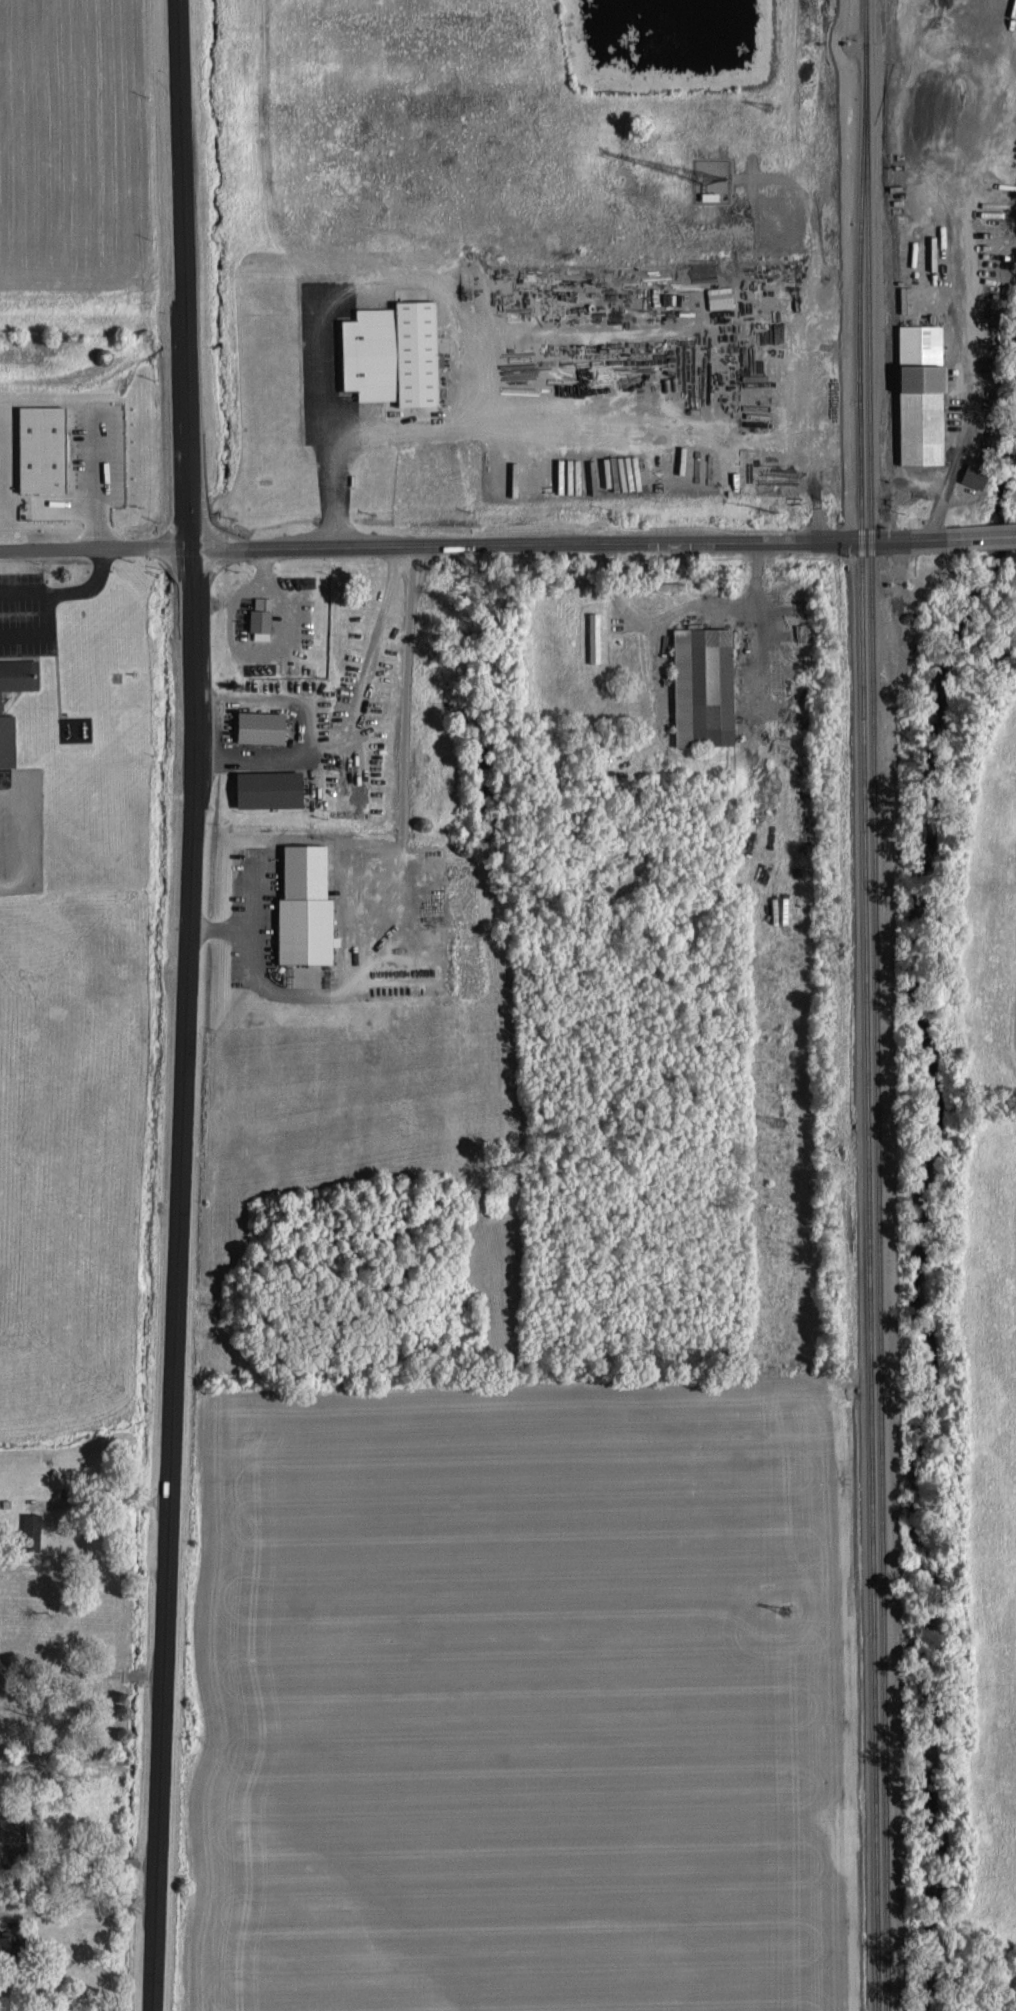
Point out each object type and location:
building: (711, 194)
building: (721, 295)
building: (395, 352)
building: (924, 393)
building: (44, 447)
building: (976, 475)
road: (988, 537)
road: (575, 542)
road: (95, 548)
building: (262, 616)
building: (595, 636)
building: (703, 681)
building: (0, 700)
building: (263, 726)
building: (270, 788)
building: (307, 929)
road: (185, 1005)
railway: (878, 1005)
building: (13, 1836)
building: (12, 1944)

